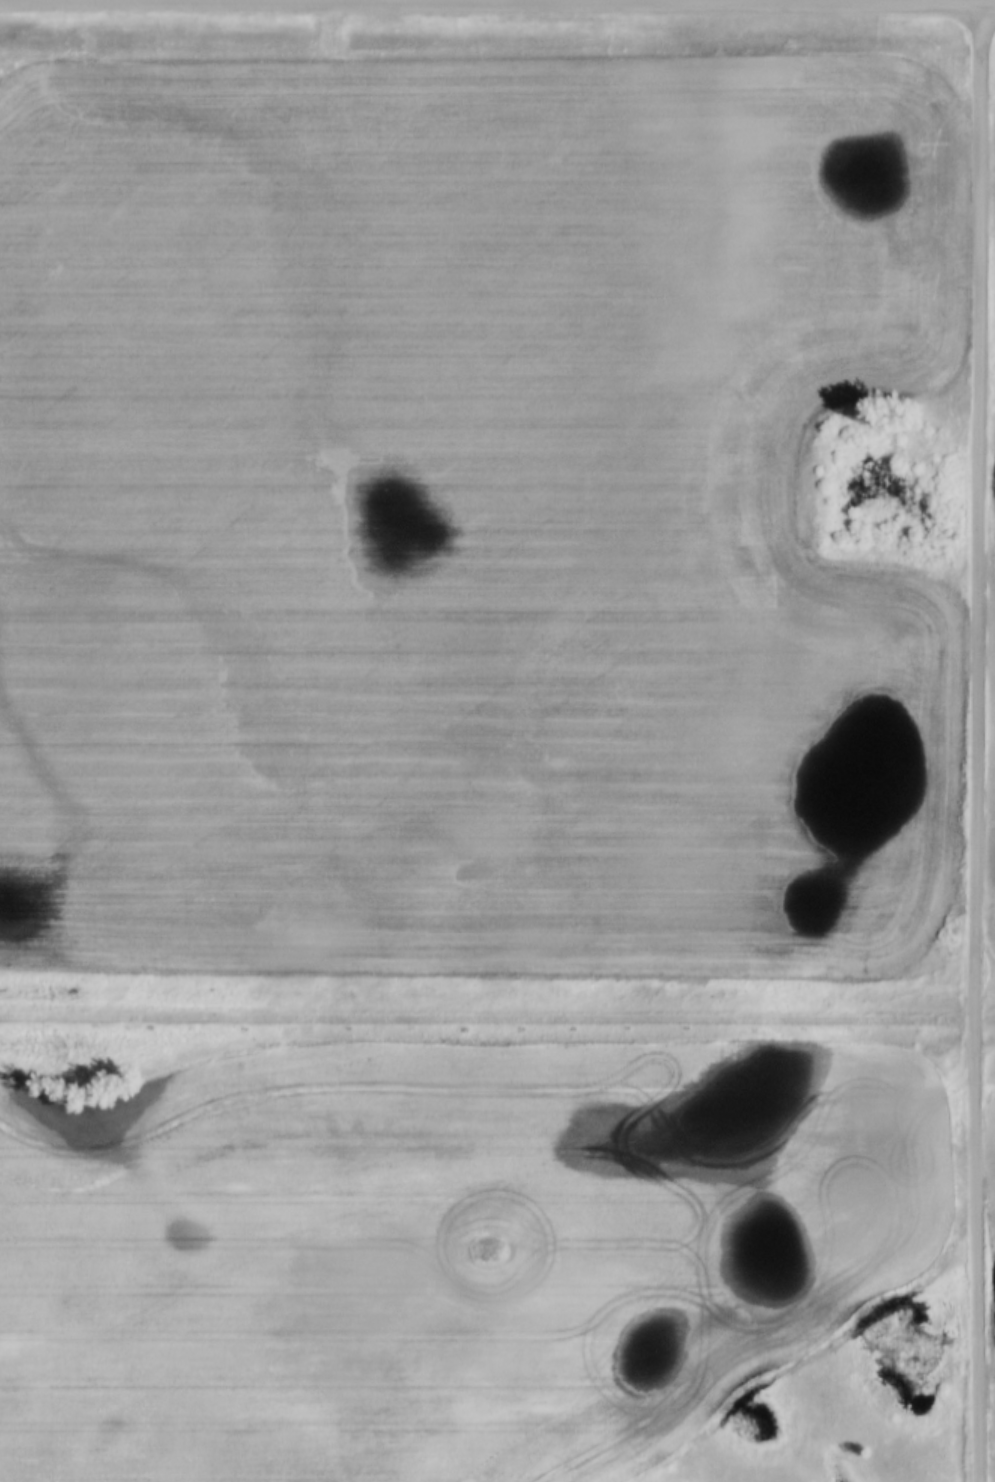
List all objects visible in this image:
road: (497, 1)
road: (980, 1)
road: (977, 741)

